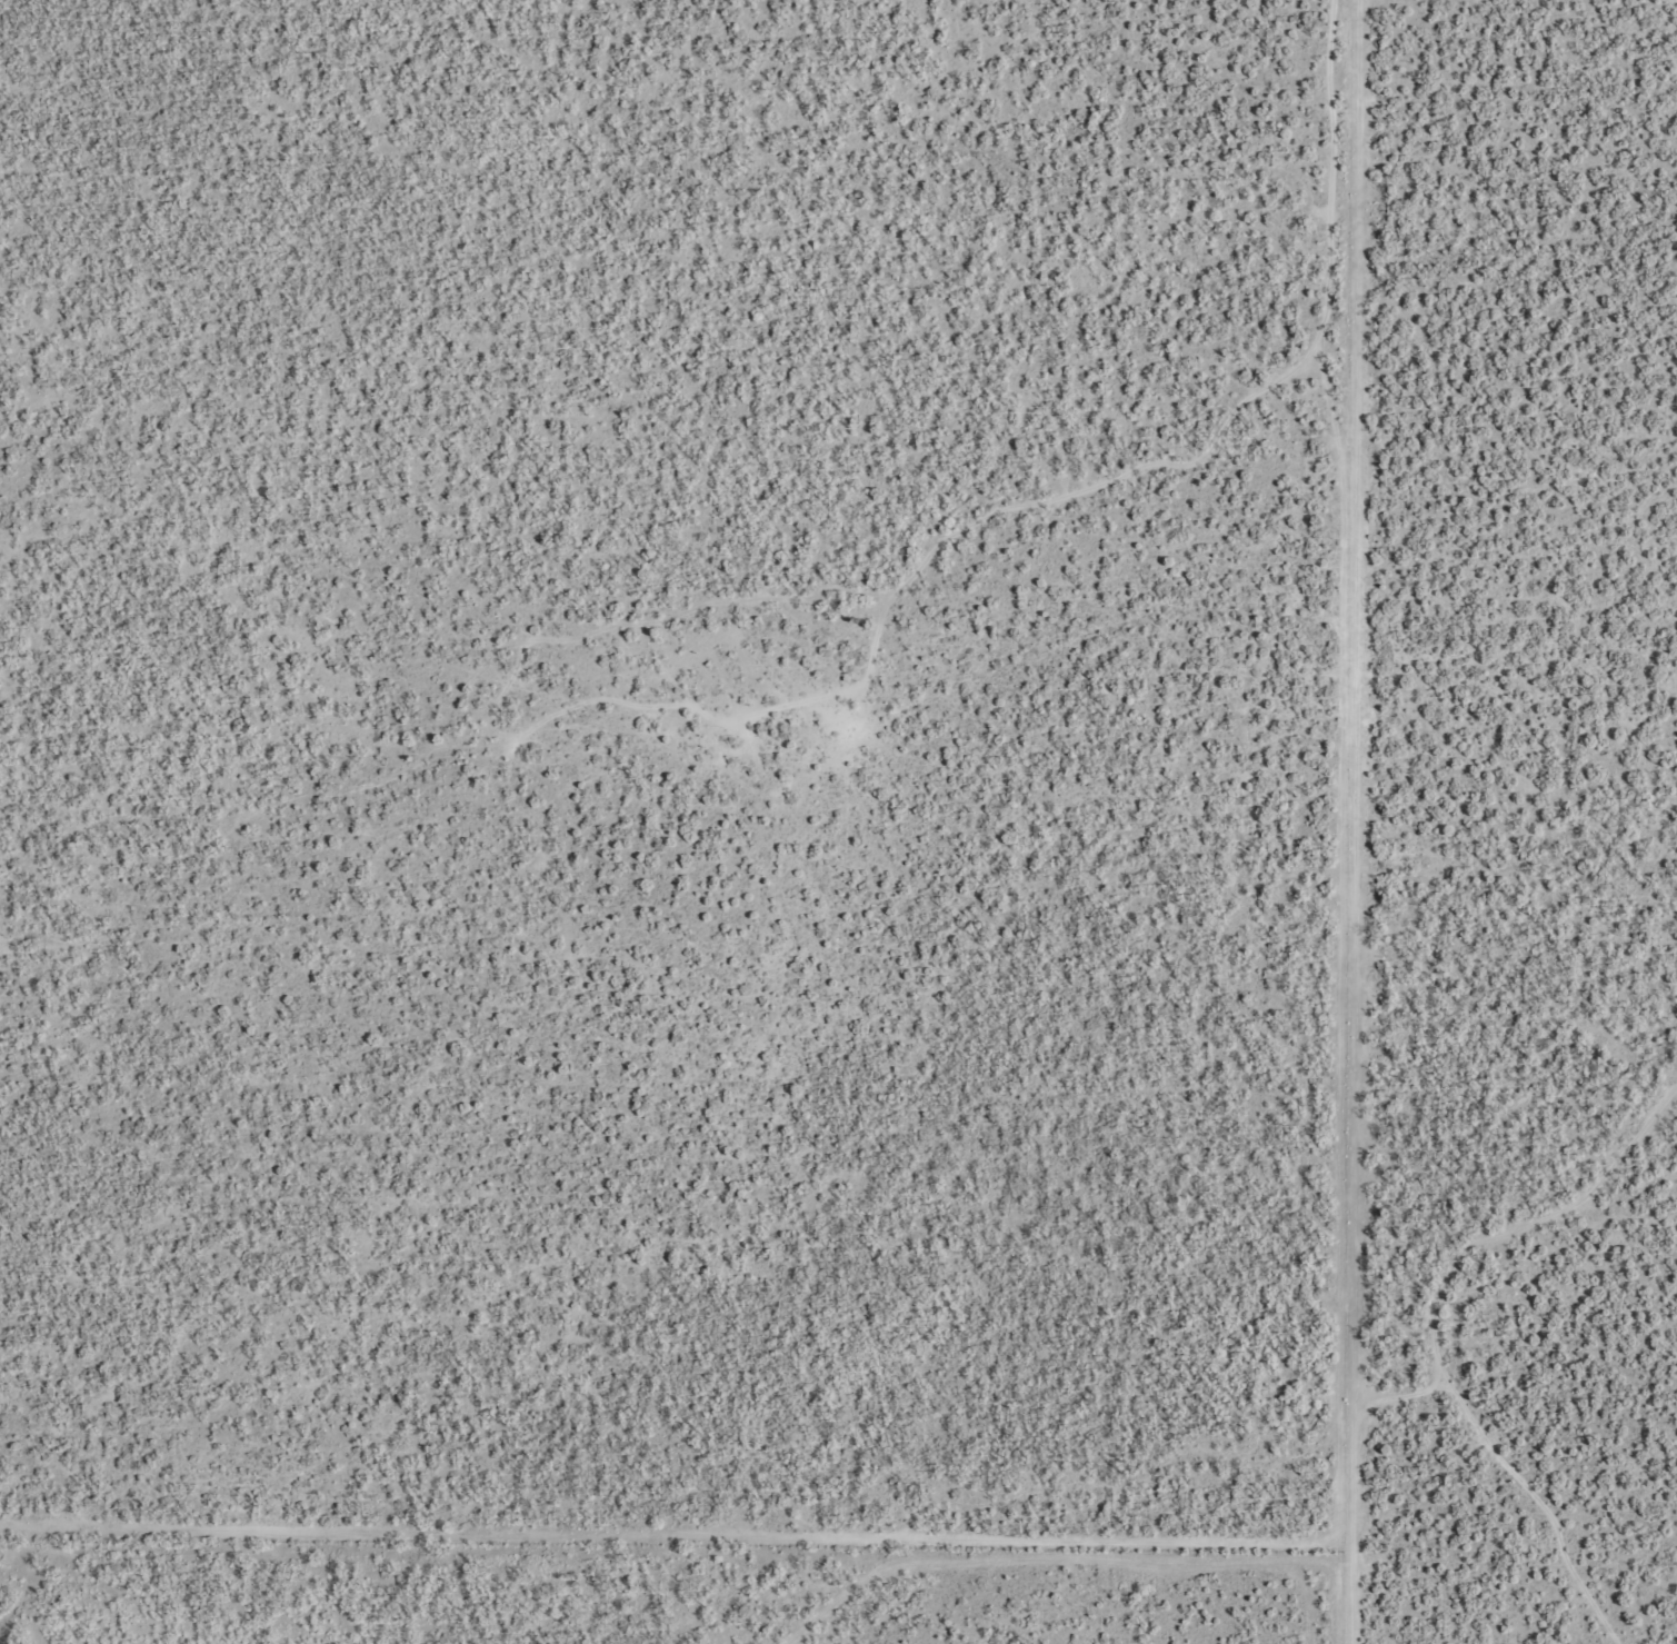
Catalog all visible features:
road: (1195, 809)
road: (131, 1556)

